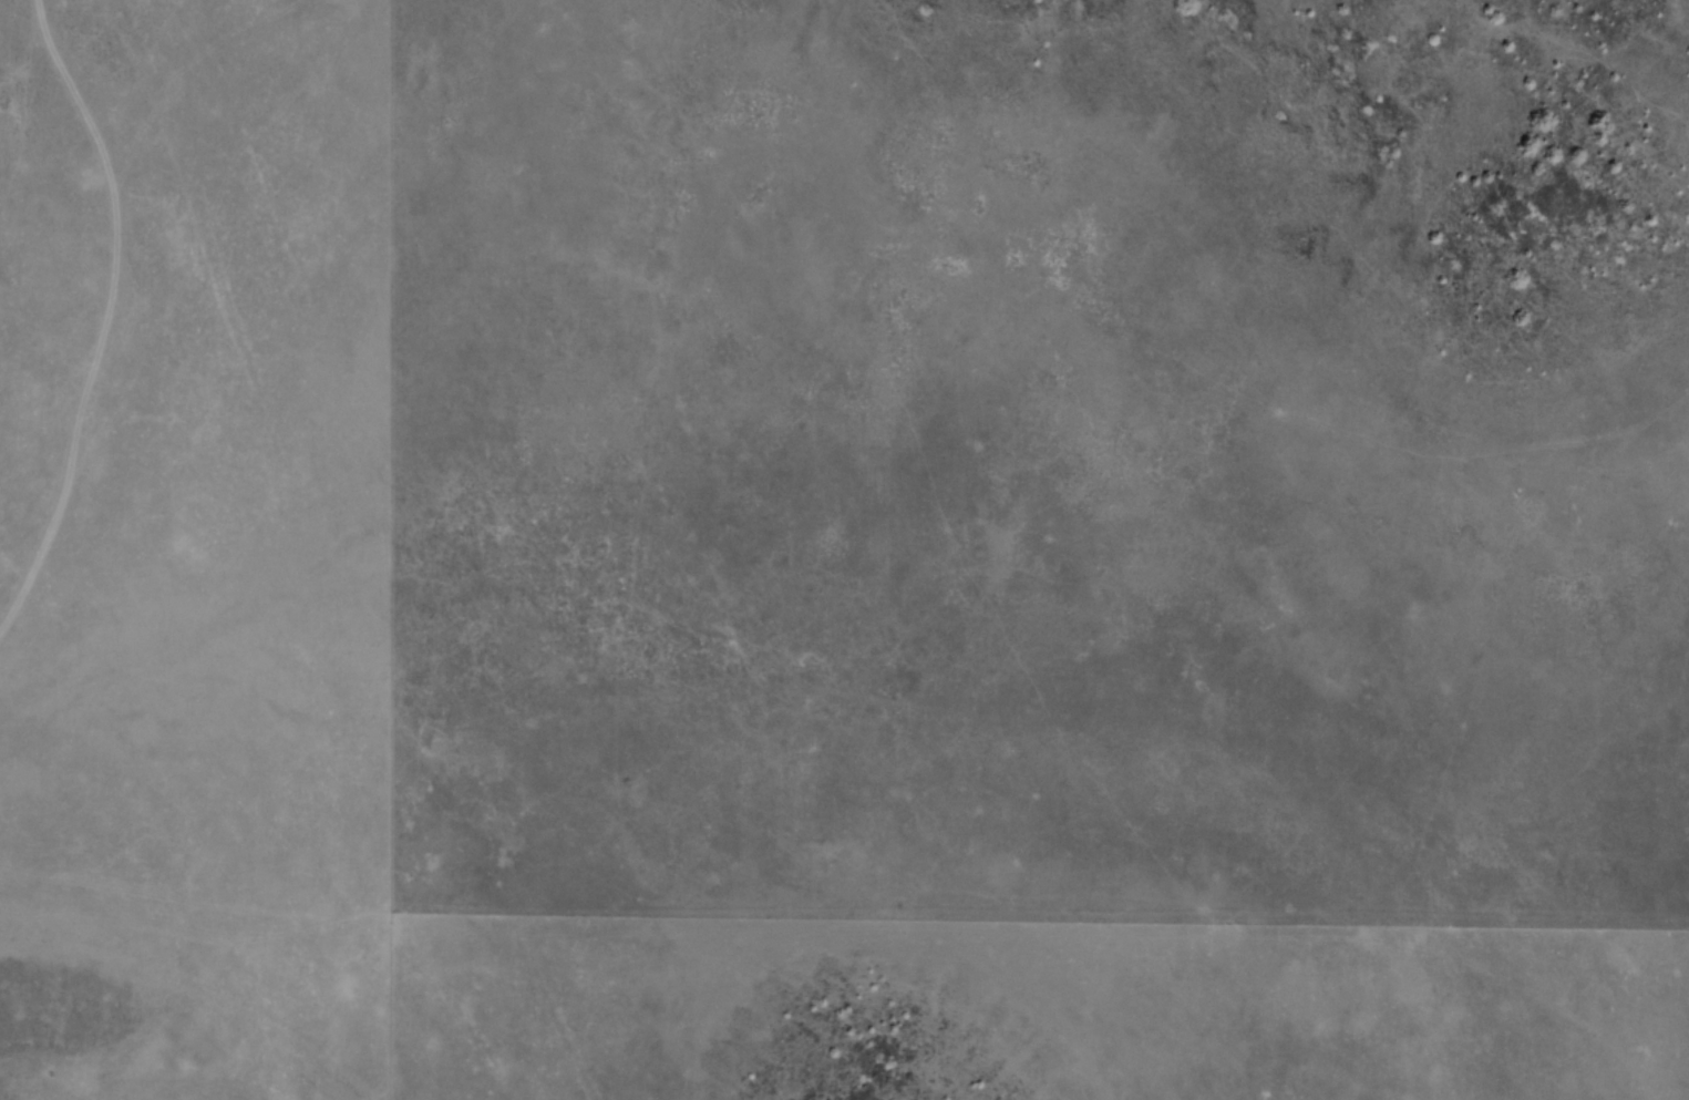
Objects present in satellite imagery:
road: (105, 316)

